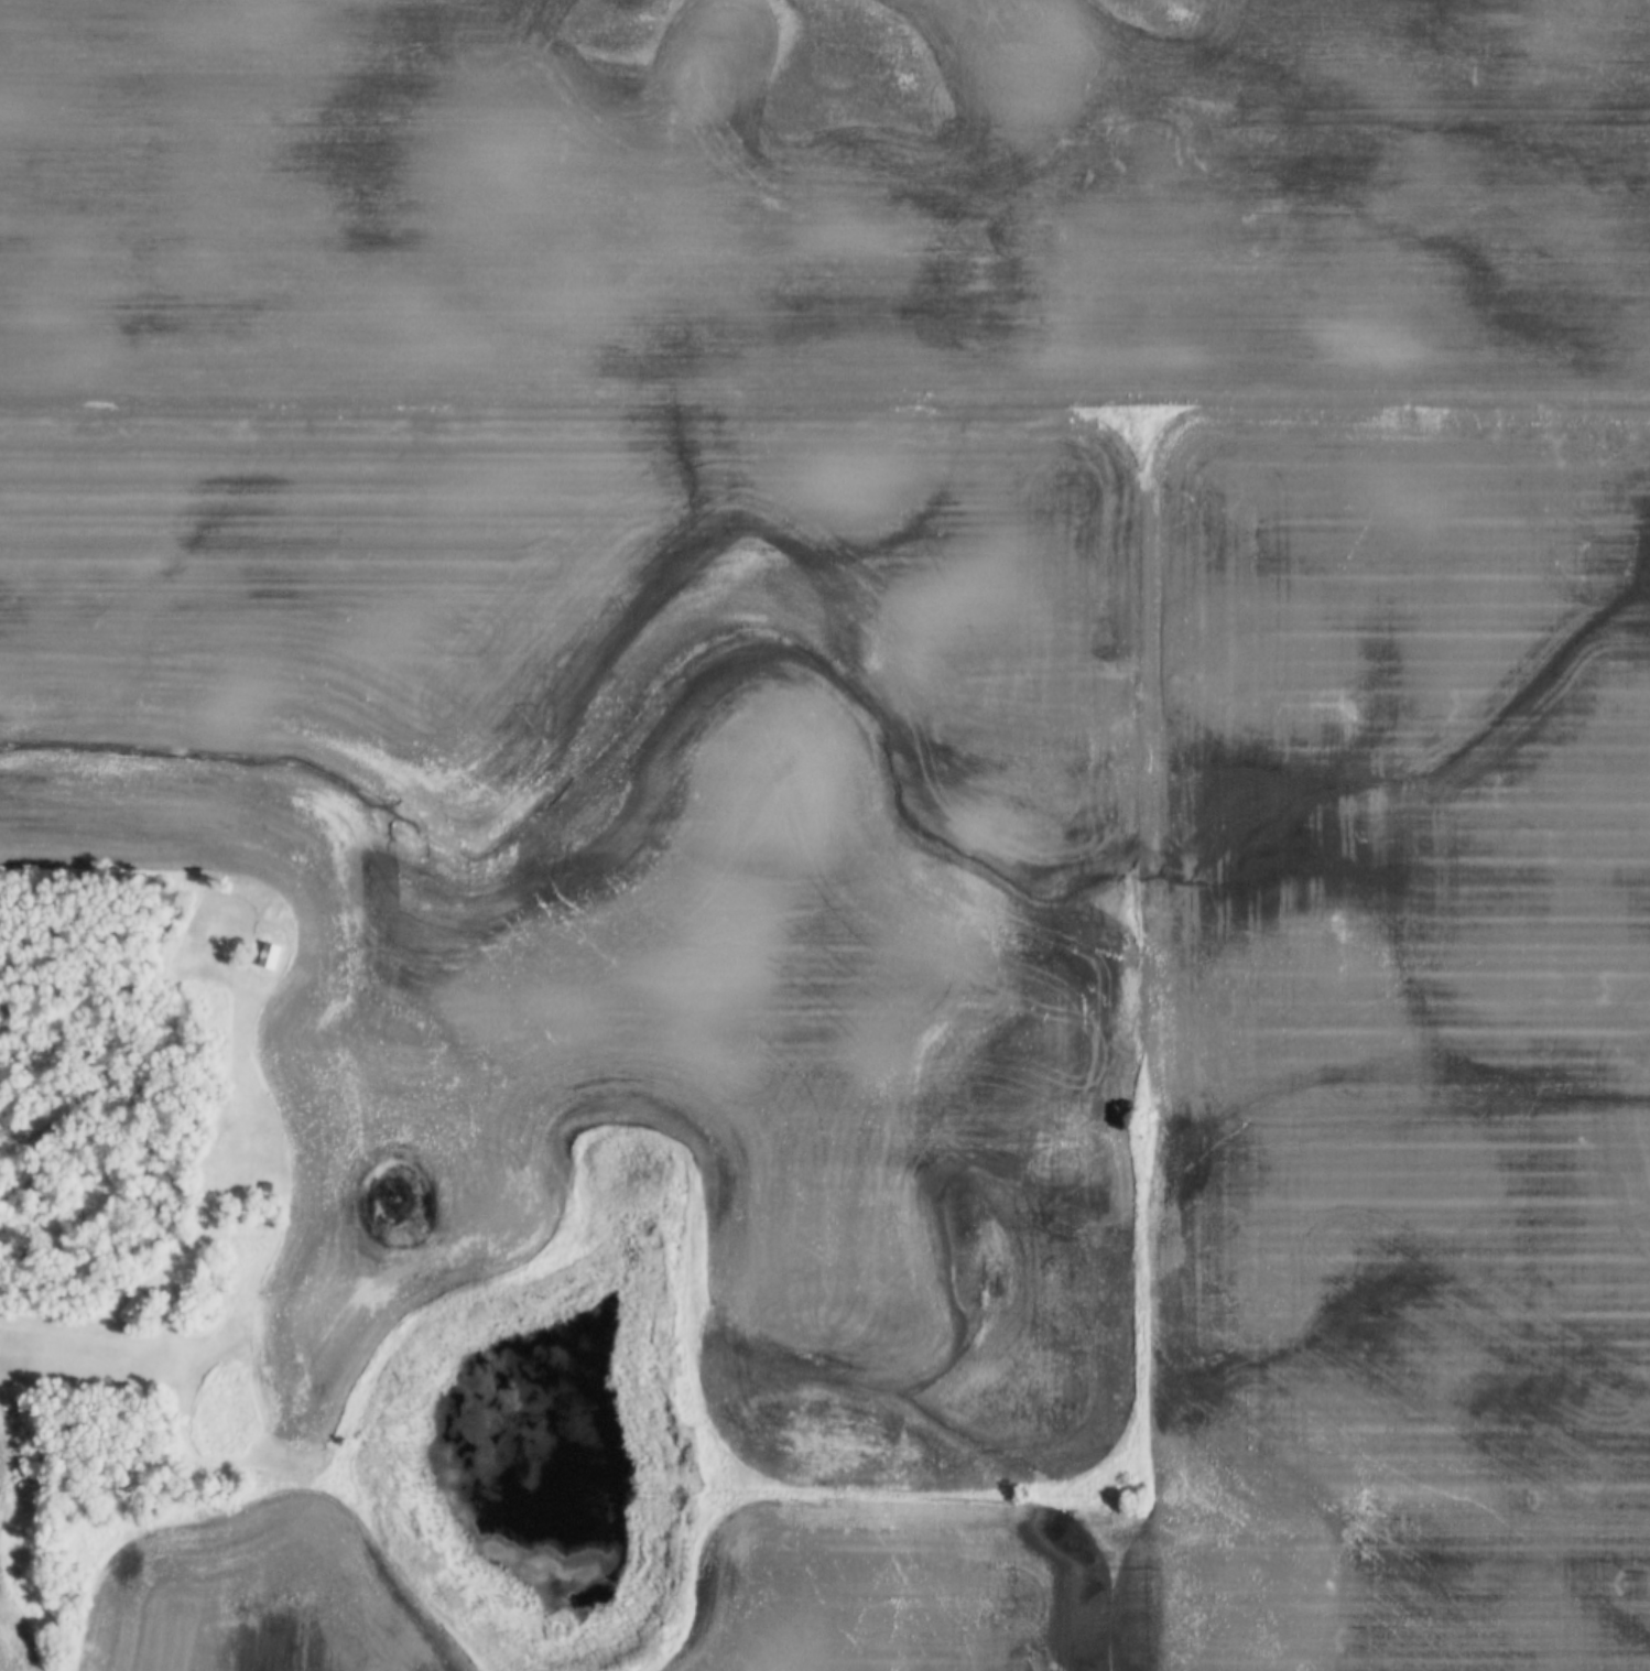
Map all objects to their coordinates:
building: (265, 955)
road: (134, 1337)

